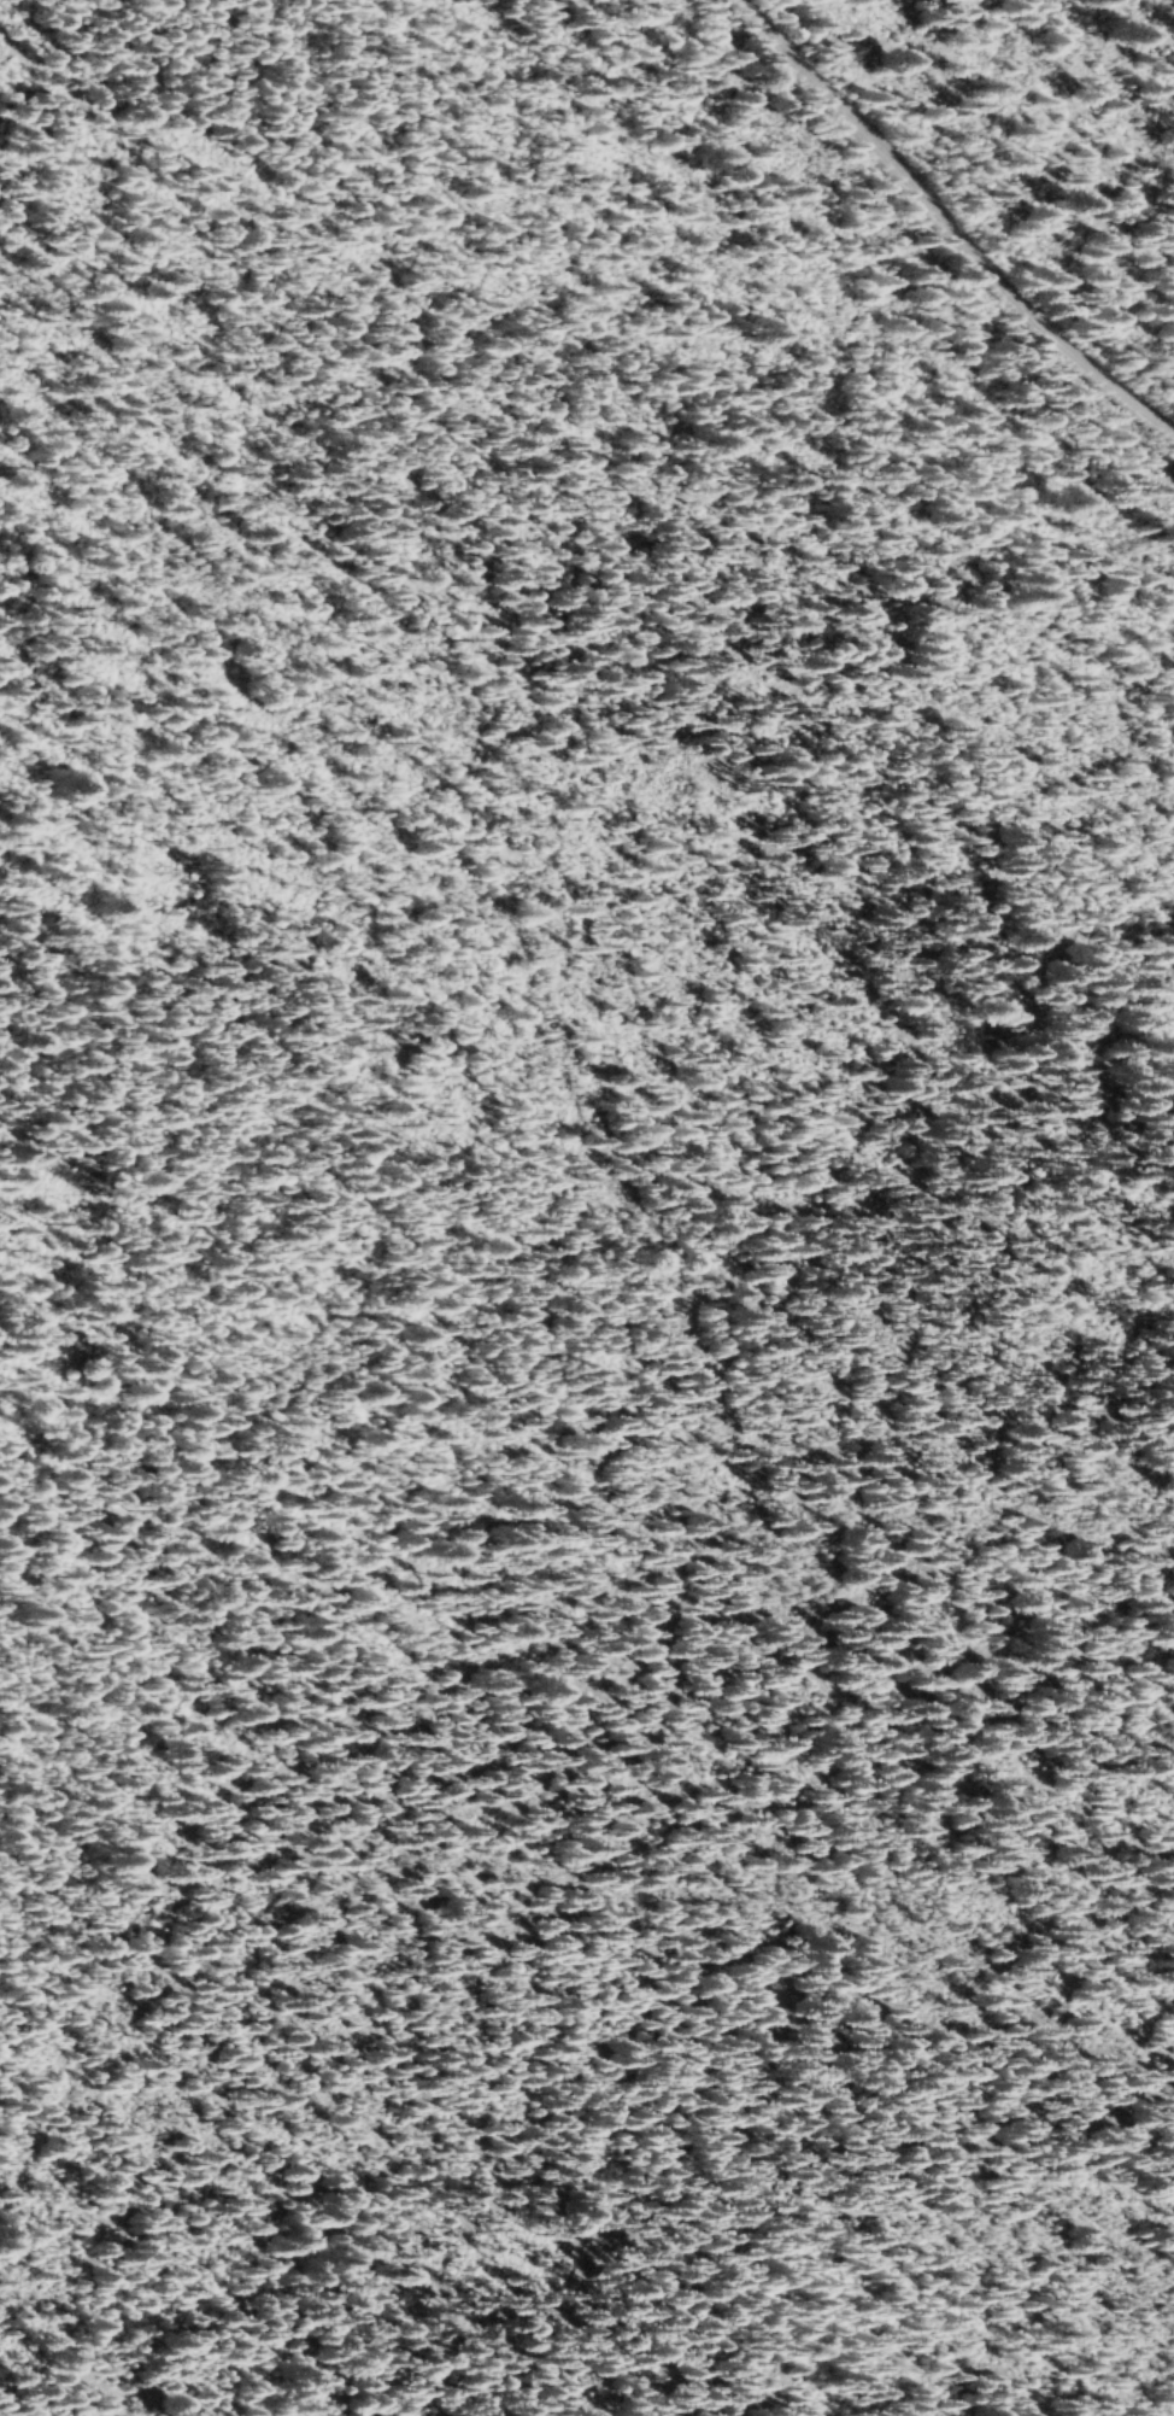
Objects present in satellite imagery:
road: (941, 229)
road: (487, 1936)
road: (1149, 2013)

